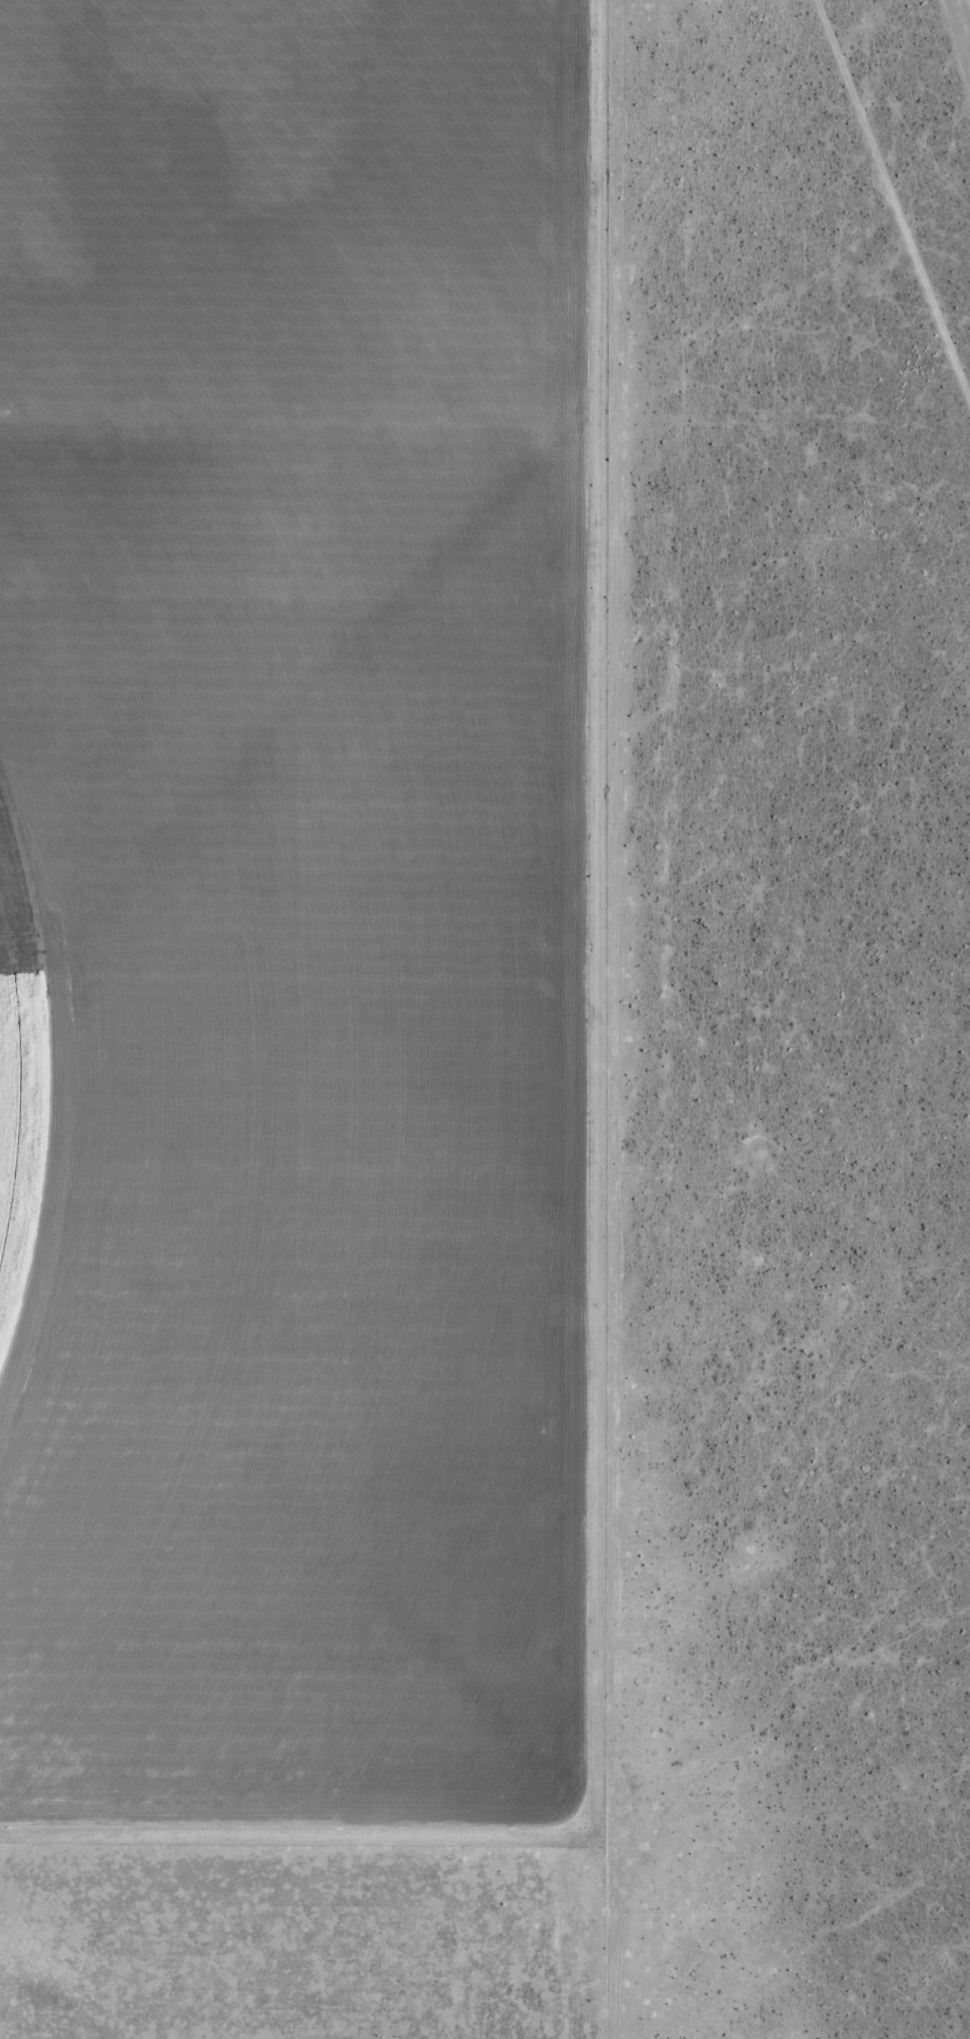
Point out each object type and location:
road: (306, 417)
road: (610, 1019)

